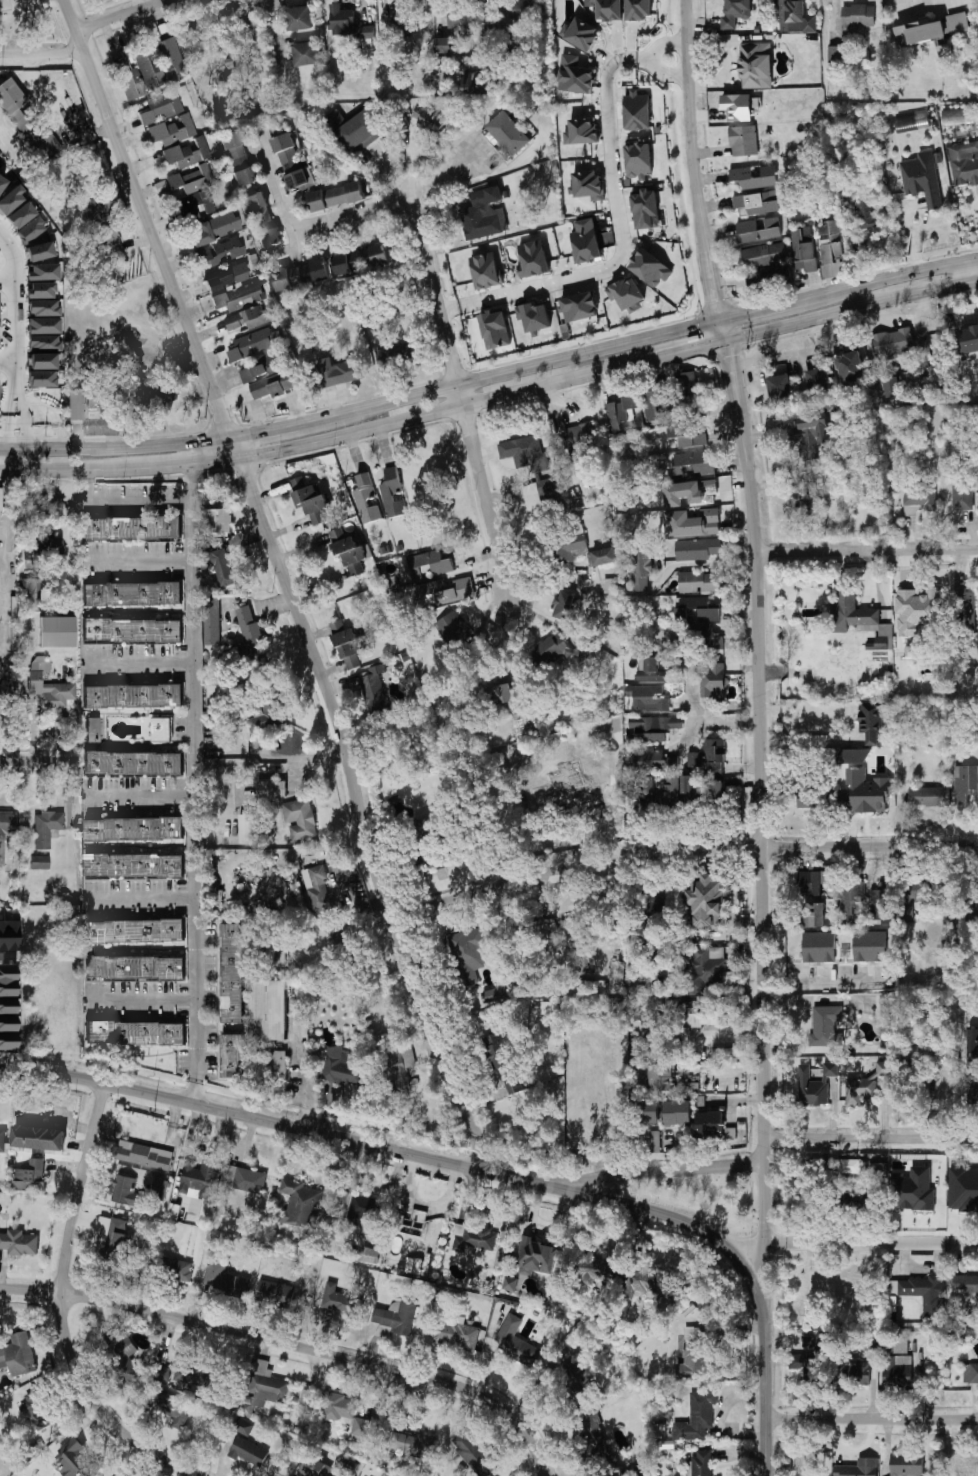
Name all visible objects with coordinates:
building: (608, 8)
building: (639, 8)
building: (528, 9)
building: (735, 11)
building: (796, 16)
building: (462, 17)
building: (299, 18)
building: (858, 18)
building: (341, 19)
road: (16, 25)
park: (32, 25)
building: (399, 27)
building: (243, 29)
road: (274, 32)
building: (367, 32)
building: (934, 32)
road: (88, 33)
building: (582, 34)
building: (445, 43)
road: (666, 43)
building: (512, 46)
building: (225, 47)
building: (306, 53)
building: (836, 54)
road: (642, 60)
building: (229, 62)
building: (756, 65)
building: (154, 69)
building: (392, 70)
road: (667, 73)
building: (577, 75)
building: (477, 82)
building: (738, 106)
building: (160, 107)
building: (638, 112)
building: (958, 116)
building: (431, 119)
building: (911, 121)
building: (68, 123)
building: (28, 124)
building: (356, 129)
building: (583, 130)
building: (173, 131)
building: (510, 133)
building: (744, 140)
building: (188, 154)
building: (239, 158)
building: (290, 160)
building: (639, 160)
building: (964, 163)
road: (482, 164)
building: (756, 176)
road: (402, 177)
road: (456, 177)
building: (924, 178)
building: (192, 180)
building: (2, 183)
building: (588, 185)
building: (495, 194)
building: (508, 194)
building: (336, 196)
building: (9, 200)
building: (757, 202)
building: (193, 206)
building: (647, 210)
building: (19, 215)
building: (482, 218)
building: (263, 219)
building: (103, 222)
building: (869, 225)
road: (305, 227)
building: (217, 228)
building: (29, 230)
building: (758, 232)
road: (622, 237)
building: (113, 243)
building: (587, 245)
building: (834, 247)
building: (806, 248)
building: (38, 252)
building: (221, 252)
road: (13, 255)
building: (764, 255)
building: (362, 257)
building: (533, 258)
building: (650, 267)
building: (485, 270)
building: (43, 272)
road: (968, 272)
building: (302, 275)
building: (229, 277)
building: (770, 280)
road: (8, 282)
building: (41, 291)
road: (158, 292)
building: (627, 293)
building: (239, 297)
building: (581, 307)
building: (43, 308)
road: (449, 309)
building: (534, 317)
building: (249, 318)
traffic signals: (721, 319)
building: (44, 326)
building: (495, 328)
traffic signals: (725, 338)
building: (893, 342)
building: (968, 342)
building: (251, 343)
building: (43, 344)
road: (156, 345)
building: (397, 354)
building: (131, 360)
road: (771, 360)
building: (41, 361)
road: (9, 363)
road: (17, 365)
building: (262, 366)
building: (343, 369)
road: (492, 376)
building: (41, 379)
building: (687, 380)
building: (277, 384)
building: (891, 386)
building: (780, 387)
building: (102, 395)
building: (156, 398)
road: (492, 398)
road: (461, 402)
building: (74, 405)
building: (655, 408)
building: (621, 411)
building: (687, 435)
building: (812, 438)
building: (580, 442)
building: (524, 452)
road: (15, 460)
building: (693, 463)
building: (547, 485)
building: (690, 492)
building: (808, 492)
building: (963, 493)
building: (920, 494)
road: (11, 499)
building: (310, 499)
building: (366, 499)
road: (113, 502)
building: (218, 520)
building: (694, 523)
building: (132, 528)
building: (46, 544)
building: (697, 549)
building: (571, 550)
building: (348, 551)
road: (867, 551)
building: (602, 556)
road: (139, 561)
building: (429, 564)
road: (711, 564)
building: (222, 567)
building: (640, 567)
road: (287, 581)
building: (697, 582)
building: (444, 591)
building: (132, 593)
building: (564, 605)
building: (966, 607)
building: (696, 608)
building: (918, 610)
building: (858, 617)
building: (212, 620)
building: (453, 627)
building: (133, 631)
building: (57, 632)
building: (251, 633)
building: (710, 638)
building: (347, 643)
building: (552, 648)
road: (760, 661)
road: (140, 664)
building: (651, 670)
building: (713, 681)
building: (374, 688)
building: (51, 691)
building: (0, 693)
building: (133, 696)
building: (499, 696)
building: (217, 697)
building: (648, 697)
building: (266, 715)
road: (710, 721)
building: (872, 722)
building: (656, 723)
building: (161, 729)
building: (93, 730)
building: (650, 737)
road: (687, 737)
building: (558, 748)
building: (854, 756)
building: (694, 759)
road: (31, 760)
building: (652, 760)
building: (134, 763)
building: (964, 783)
road: (195, 784)
building: (569, 785)
building: (271, 788)
building: (642, 790)
building: (669, 790)
building: (863, 791)
building: (806, 794)
building: (929, 796)
road: (141, 797)
building: (299, 819)
building: (46, 828)
building: (134, 828)
building: (247, 828)
building: (422, 828)
building: (7, 830)
road: (682, 852)
building: (429, 859)
building: (40, 862)
building: (135, 865)
building: (813, 882)
building: (318, 888)
building: (912, 897)
road: (142, 899)
building: (705, 903)
building: (882, 903)
building: (852, 904)
building: (812, 914)
building: (136, 930)
building: (9, 936)
building: (819, 946)
building: (870, 946)
building: (469, 952)
building: (135, 967)
building: (232, 972)
building: (702, 972)
building: (496, 993)
road: (143, 999)
building: (549, 1007)
building: (8, 1008)
building: (268, 1009)
building: (646, 1010)
building: (702, 1015)
building: (826, 1026)
building: (136, 1033)
building: (973, 1043)
building: (642, 1044)
building: (496, 1051)
building: (928, 1052)
building: (232, 1056)
building: (399, 1062)
building: (280, 1063)
building: (341, 1068)
building: (884, 1070)
building: (661, 1077)
building: (511, 1084)
building: (816, 1085)
building: (860, 1090)
building: (973, 1090)
building: (649, 1111)
building: (678, 1112)
road: (275, 1123)
building: (709, 1123)
building: (38, 1137)
road: (872, 1139)
building: (2, 1140)
building: (654, 1140)
building: (144, 1155)
building: (851, 1166)
building: (878, 1171)
road: (657, 1172)
building: (30, 1176)
building: (200, 1179)
building: (243, 1179)
building: (159, 1186)
building: (963, 1188)
building: (913, 1190)
building: (126, 1191)
park: (704, 1199)
building: (854, 1199)
building: (300, 1204)
building: (174, 1211)
building: (413, 1223)
road: (685, 1223)
building: (114, 1238)
building: (473, 1239)
building: (19, 1242)
road: (852, 1244)
building: (368, 1254)
building: (535, 1257)
building: (177, 1269)
building: (596, 1269)
building: (224, 1279)
building: (641, 1281)
building: (510, 1283)
building: (965, 1283)
building: (275, 1293)
building: (923, 1294)
building: (337, 1300)
road: (63, 1305)
building: (516, 1342)
road: (295, 1346)
building: (694, 1353)
building: (18, 1355)
building: (804, 1357)
building: (125, 1359)
building: (841, 1371)
building: (897, 1372)
building: (162, 1373)
building: (192, 1373)
building: (860, 1373)
building: (970, 1373)
building: (575, 1374)
building: (265, 1385)
road: (767, 1402)
building: (338, 1406)
building: (173, 1407)
building: (36, 1410)
building: (697, 1417)
road: (873, 1419)
building: (243, 1426)
building: (364, 1428)
building: (595, 1434)
building: (410, 1444)
building: (248, 1451)
building: (474, 1453)
building: (77, 1460)
building: (702, 1463)
building: (806, 1463)
building: (906, 1464)
building: (315, 1468)
building: (858, 1468)
building: (967, 1471)

